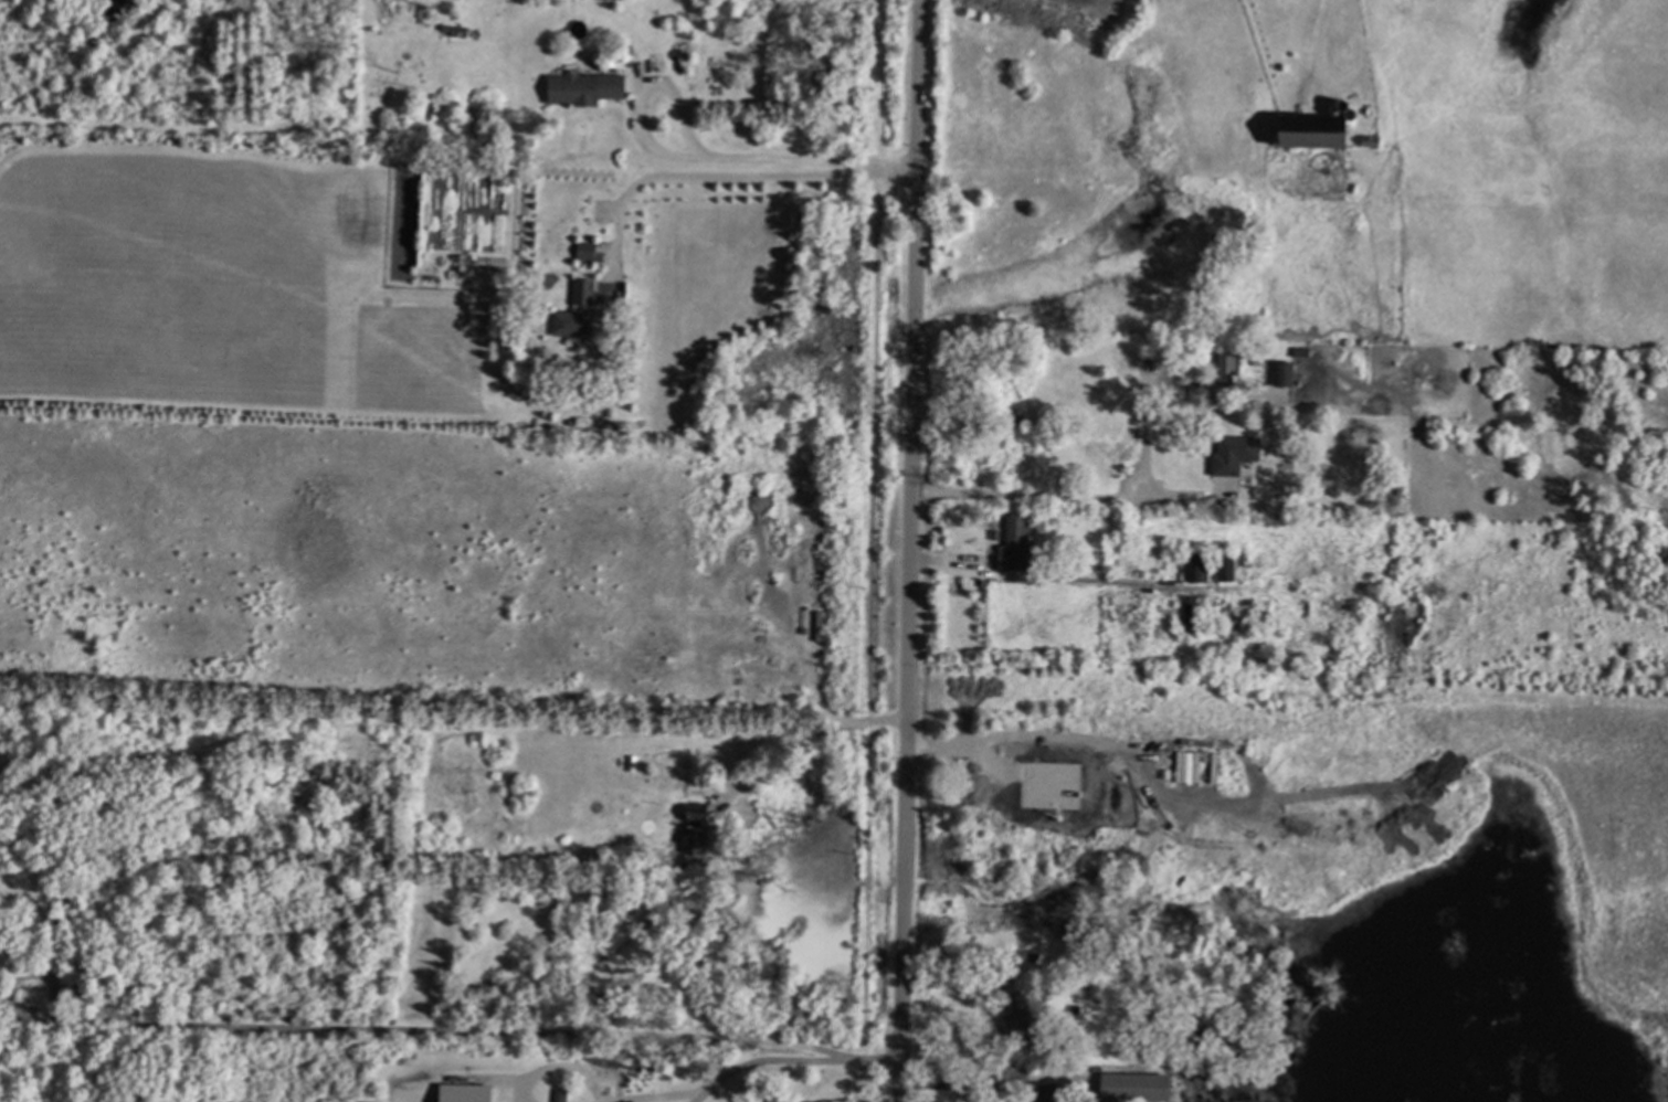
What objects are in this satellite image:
building: (457, 30)
building: (293, 53)
building: (612, 62)
road: (1336, 78)
building: (587, 87)
building: (350, 100)
building: (1313, 133)
building: (1372, 140)
road: (698, 151)
crop: (1527, 167)
road: (725, 179)
building: (589, 251)
building: (458, 261)
building: (436, 265)
building: (585, 292)
crop: (218, 298)
building: (574, 322)
building: (1302, 352)
building: (1258, 363)
building: (1285, 373)
building: (1228, 375)
building: (572, 421)
building: (583, 421)
building: (1236, 454)
building: (1386, 489)
road: (1060, 497)
building: (1231, 505)
building: (1016, 545)
road: (911, 551)
building: (1197, 568)
building: (1233, 568)
building: (1192, 614)
road: (805, 744)
building: (1191, 756)
building: (1168, 774)
building: (1009, 775)
road: (1161, 786)
crop: (1514, 799)
building: (695, 829)
building: (627, 851)
building: (1083, 993)
building: (1027, 1018)
road: (415, 1032)
road: (792, 1063)
road: (562, 1069)
building: (1133, 1088)
road: (970, 1089)
building: (465, 1092)
building: (1047, 1092)
building: (562, 1095)
road: (659, 1095)

